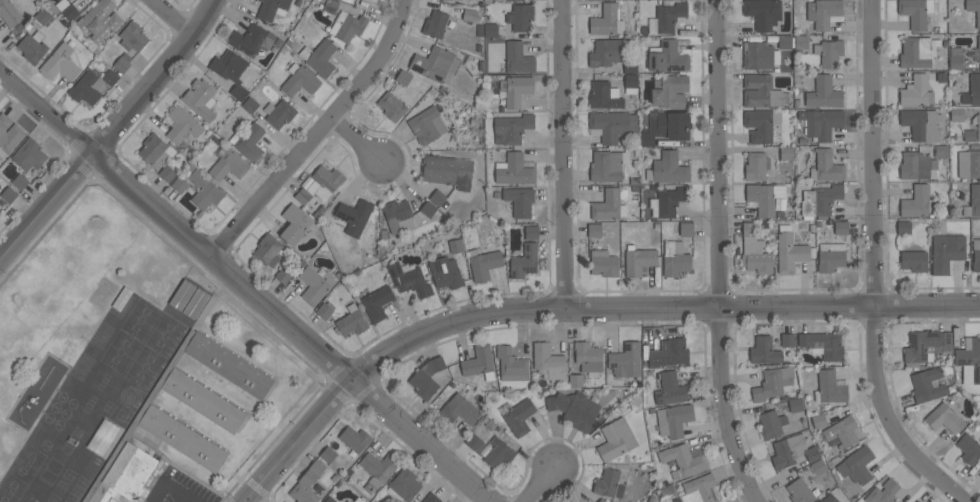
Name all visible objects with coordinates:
building: (338, 0)
building: (68, 1)
building: (330, 6)
building: (67, 9)
building: (272, 9)
building: (974, 9)
building: (915, 12)
building: (9, 13)
building: (763, 13)
building: (823, 13)
building: (468, 14)
building: (42, 16)
road: (176, 16)
building: (520, 16)
building: (669, 16)
building: (99, 19)
building: (606, 20)
building: (435, 24)
building: (346, 26)
building: (490, 30)
building: (132, 37)
building: (251, 40)
building: (784, 42)
building: (801, 42)
building: (32, 47)
building: (977, 50)
building: (917, 51)
building: (605, 52)
building: (829, 53)
building: (759, 55)
building: (319, 57)
building: (667, 57)
building: (518, 58)
building: (955, 58)
building: (122, 62)
building: (60, 63)
building: (434, 63)
building: (229, 66)
building: (630, 66)
building: (110, 77)
building: (403, 77)
building: (300, 80)
building: (630, 83)
building: (87, 87)
building: (515, 89)
building: (972, 90)
building: (238, 91)
building: (669, 91)
building: (760, 91)
building: (916, 91)
building: (823, 93)
building: (605, 96)
building: (200, 100)
building: (249, 105)
building: (392, 106)
building: (279, 113)
building: (956, 114)
building: (822, 123)
building: (182, 124)
building: (427, 125)
building: (612, 125)
building: (760, 125)
building: (922, 125)
building: (976, 125)
building: (665, 127)
building: (511, 128)
road: (111, 134)
building: (8, 135)
road: (319, 135)
building: (969, 136)
road: (358, 137)
building: (248, 142)
building: (153, 150)
building: (941, 151)
road: (566, 153)
building: (786, 153)
building: (29, 155)
building: (969, 164)
building: (607, 165)
building: (756, 165)
building: (228, 166)
building: (826, 166)
building: (917, 166)
building: (667, 168)
building: (513, 170)
building: (447, 171)
building: (166, 173)
building: (20, 181)
building: (324, 182)
building: (179, 184)
building: (203, 190)
building: (8, 194)
building: (302, 196)
building: (437, 197)
building: (764, 198)
building: (519, 200)
building: (670, 201)
building: (819, 201)
building: (973, 201)
building: (917, 202)
building: (606, 206)
building: (428, 209)
building: (0, 212)
building: (397, 215)
building: (354, 216)
building: (294, 224)
building: (937, 225)
building: (840, 227)
building: (903, 227)
building: (686, 229)
building: (594, 230)
building: (531, 233)
building: (456, 246)
building: (268, 250)
building: (754, 250)
building: (789, 250)
building: (946, 252)
road: (718, 253)
building: (976, 254)
building: (830, 256)
building: (675, 259)
building: (638, 260)
building: (524, 261)
building: (913, 261)
building: (603, 263)
building: (483, 264)
road: (873, 268)
building: (445, 273)
building: (283, 275)
building: (409, 280)
building: (315, 284)
road: (246, 286)
building: (376, 302)
road: (576, 307)
park: (140, 319)
building: (351, 323)
park: (164, 334)
building: (787, 340)
building: (823, 345)
building: (925, 346)
building: (764, 350)
park: (119, 351)
building: (669, 353)
building: (588, 358)
building: (625, 360)
building: (969, 360)
building: (477, 361)
building: (548, 361)
building: (228, 364)
building: (511, 365)
park: (144, 366)
building: (427, 377)
building: (575, 381)
building: (772, 383)
building: (927, 385)
building: (829, 387)
building: (671, 389)
building: (203, 399)
building: (795, 405)
park: (108, 407)
building: (459, 409)
building: (574, 409)
park: (121, 415)
building: (519, 417)
building: (944, 418)
building: (673, 420)
building: (818, 421)
building: (771, 424)
building: (842, 431)
building: (102, 437)
building: (182, 437)
building: (354, 438)
building: (615, 440)
building: (475, 443)
building: (969, 448)
building: (788, 450)
building: (498, 452)
building: (327, 454)
building: (812, 454)
building: (682, 461)
building: (856, 465)
building: (317, 466)
building: (378, 467)
building: (818, 467)
park: (19, 473)
park: (68, 474)
building: (124, 475)
park: (81, 482)
building: (606, 482)
building: (405, 484)
road: (542, 484)
park: (60, 486)
building: (305, 487)
road: (169, 488)
parking lot: (178, 488)
building: (699, 490)
building: (799, 491)
building: (883, 492)
park: (73, 494)
park: (52, 498)
building: (431, 498)
building: (829, 498)
road: (254, 499)
building: (329, 500)
building: (358, 500)
building: (601, 500)
park: (64, 501)
building: (348, 501)
building: (571, 501)
building: (917, 501)

